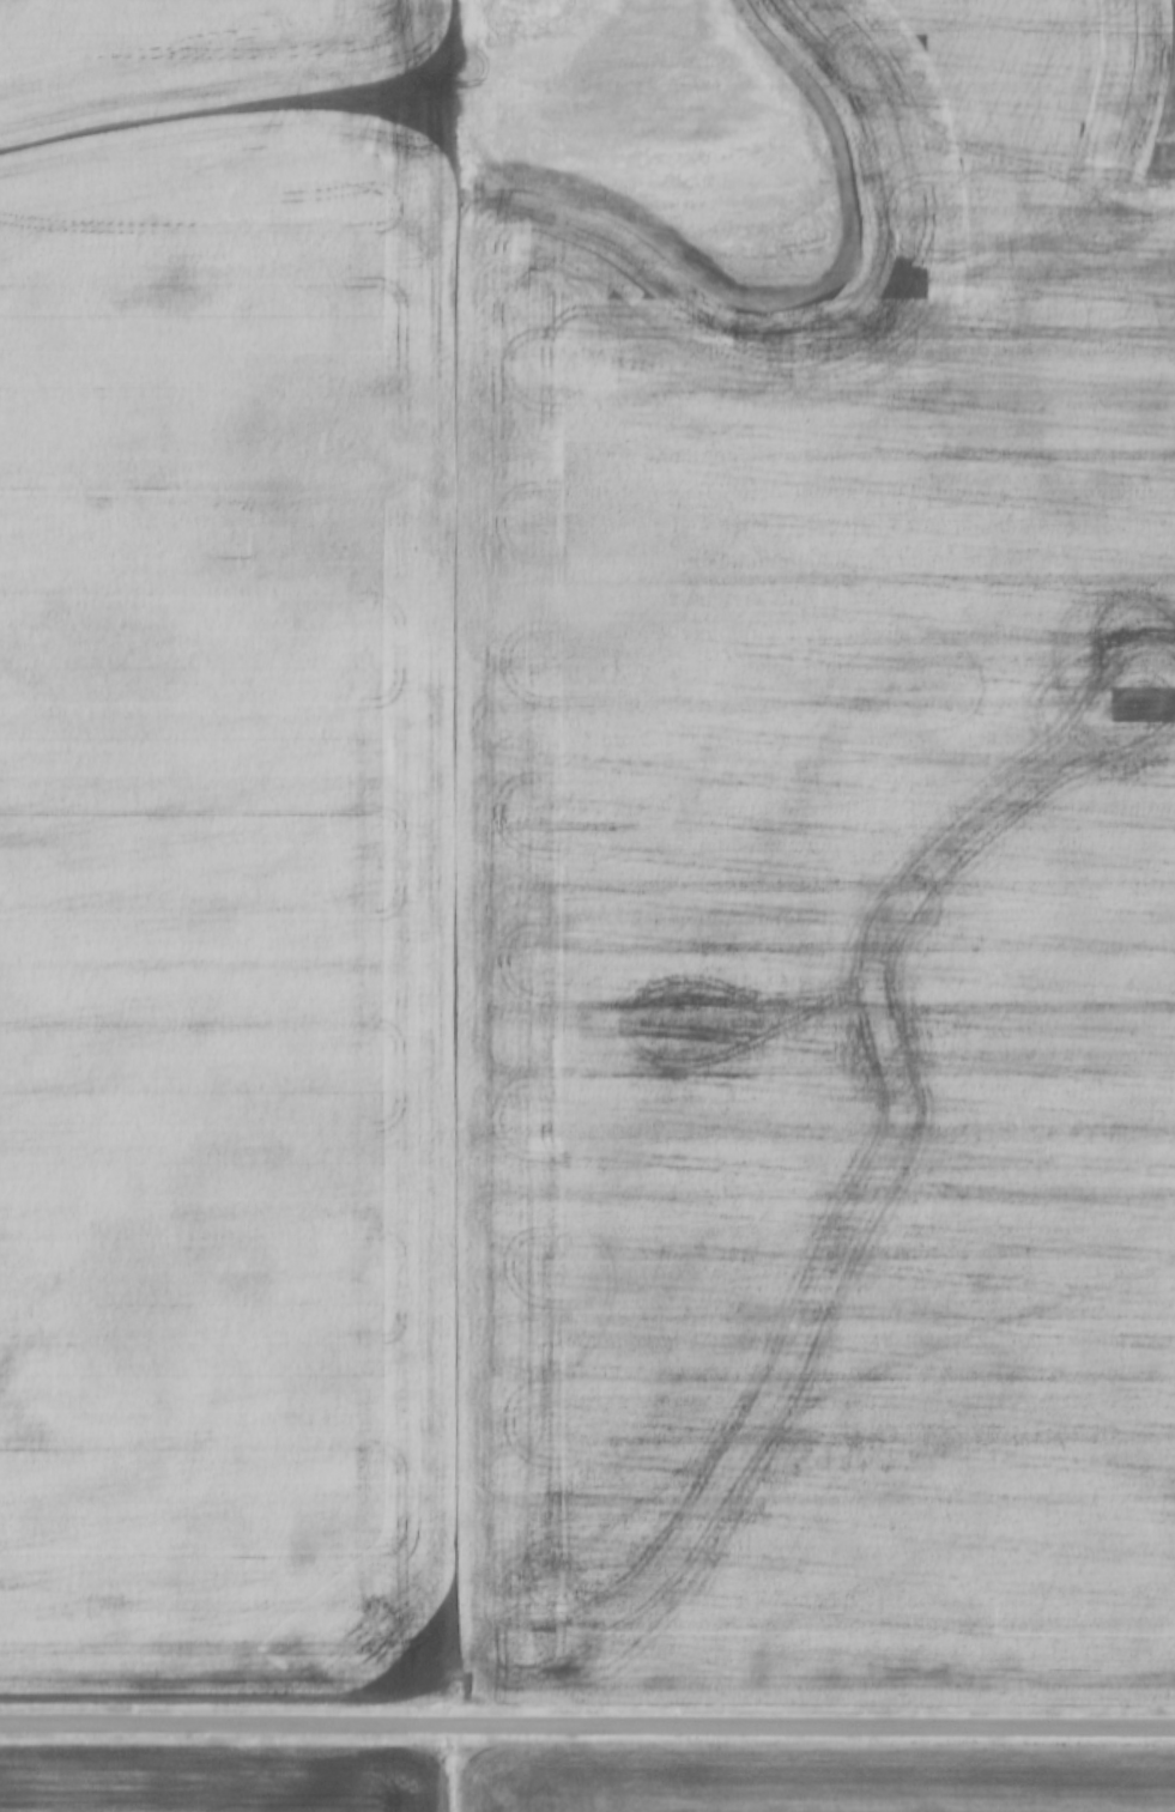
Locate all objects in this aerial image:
road: (587, 1733)

